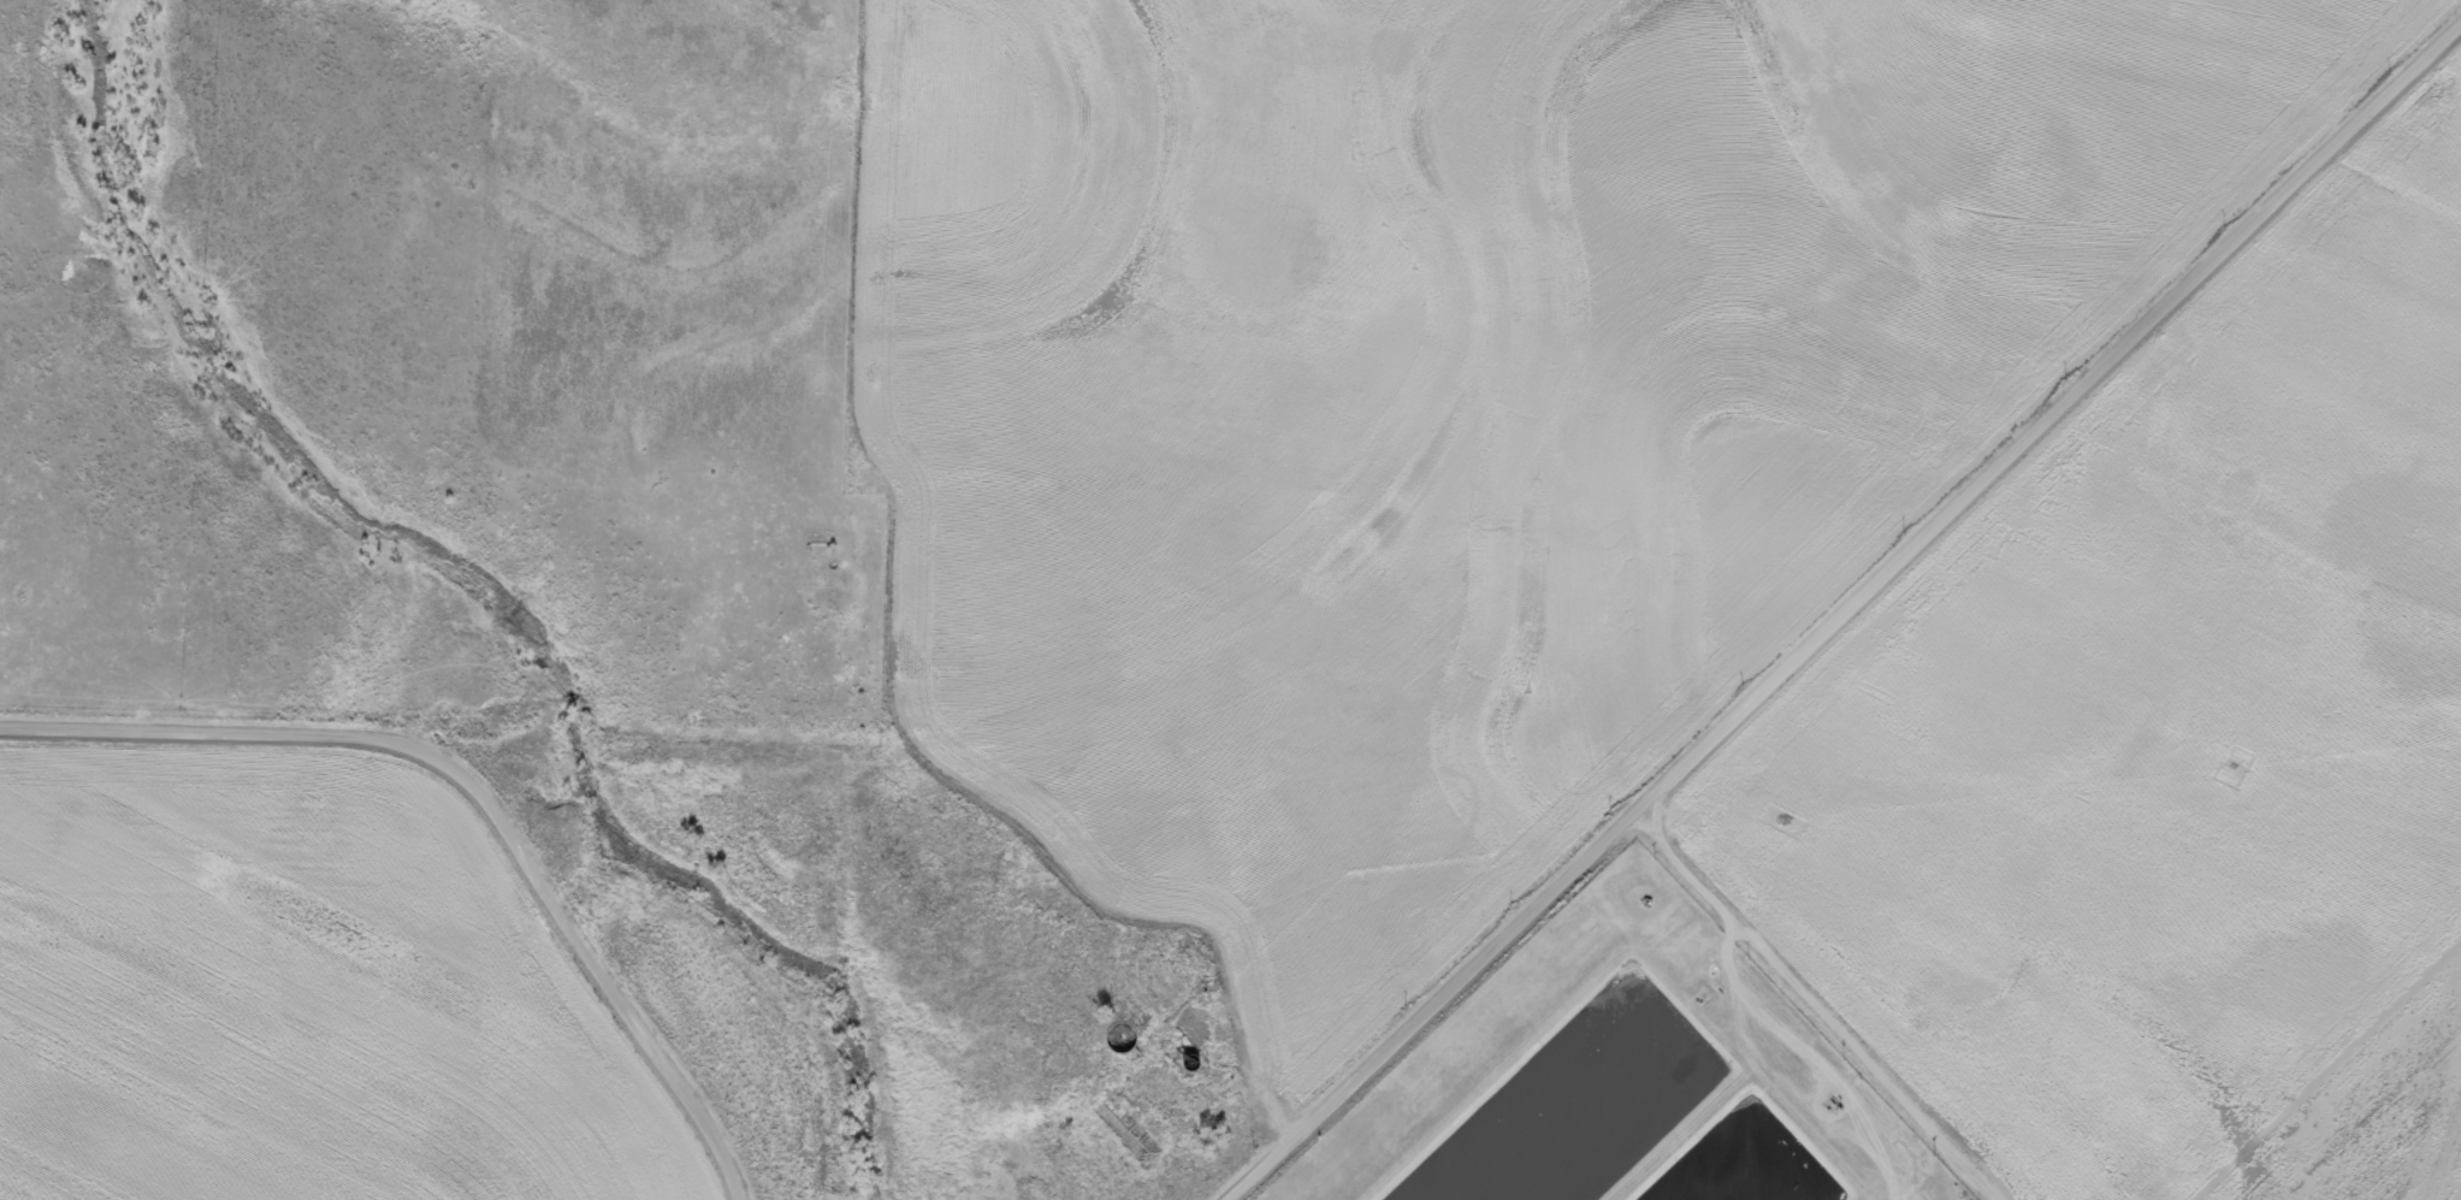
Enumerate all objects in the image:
road: (1838, 610)
road: (478, 786)
airport: (2059, 867)

